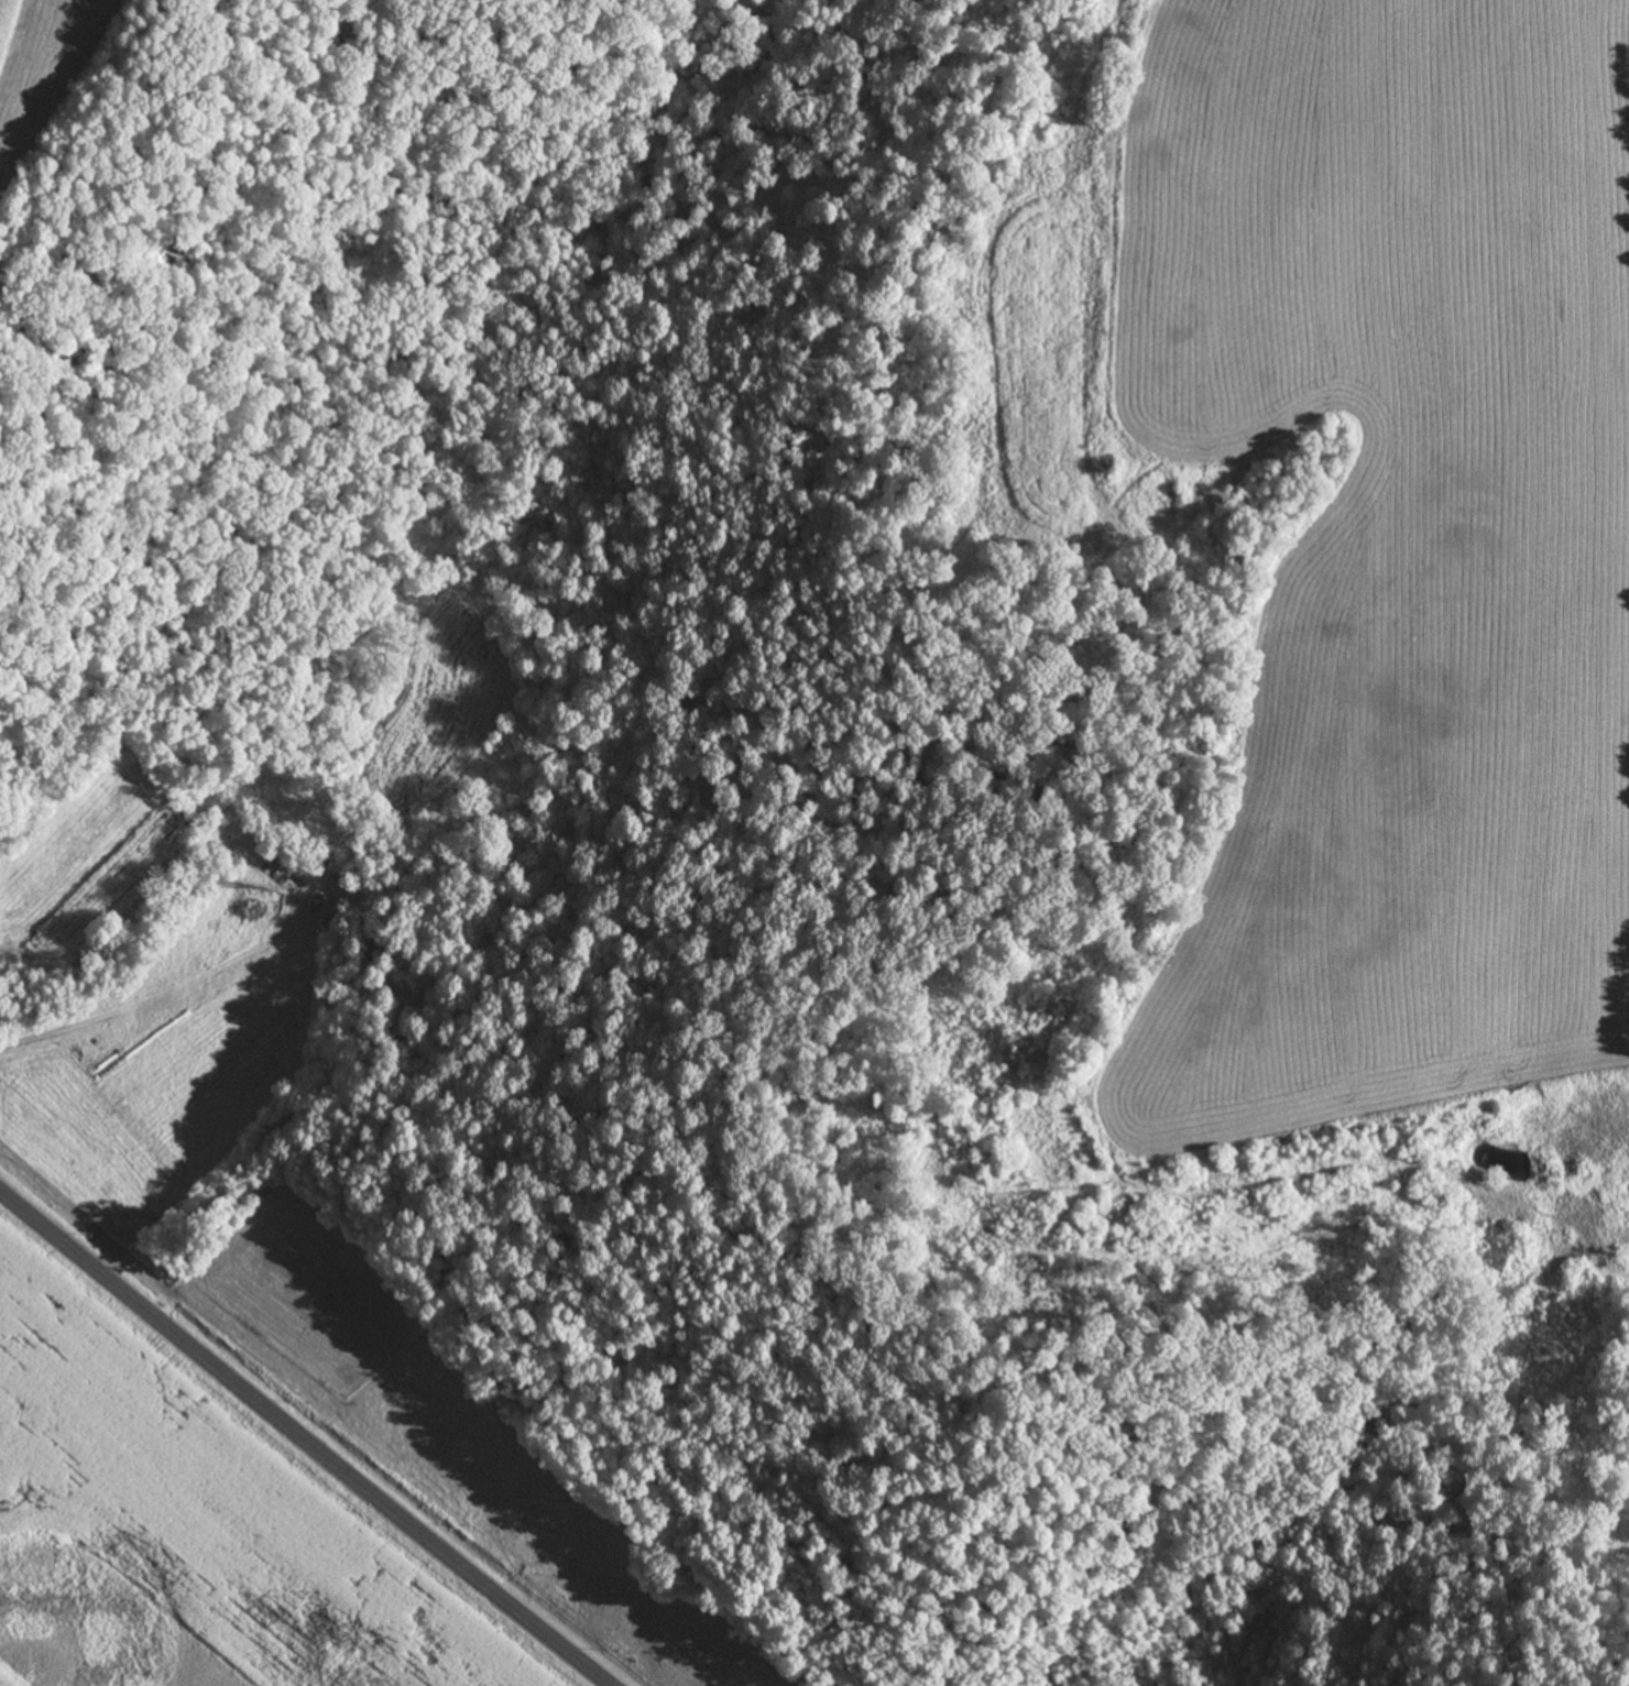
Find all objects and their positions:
road: (304, 1439)

